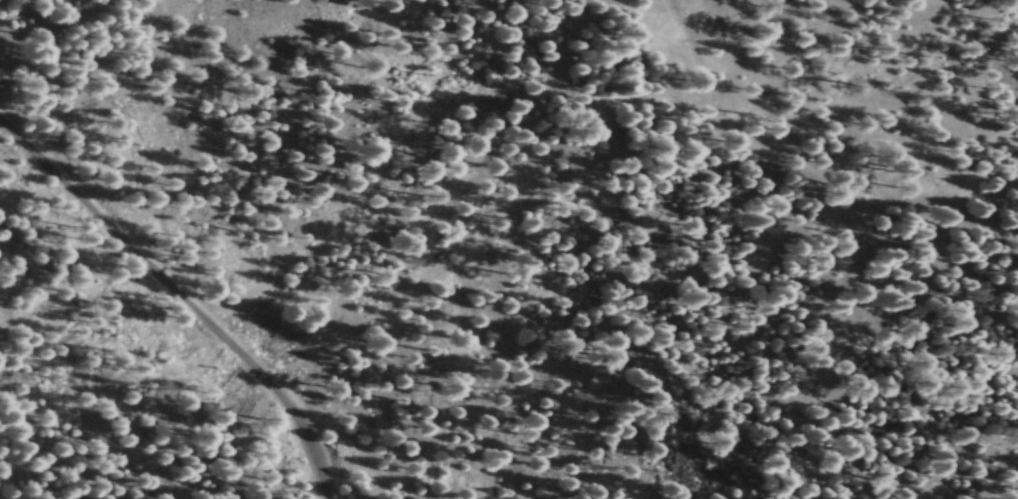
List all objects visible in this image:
road: (178, 306)

